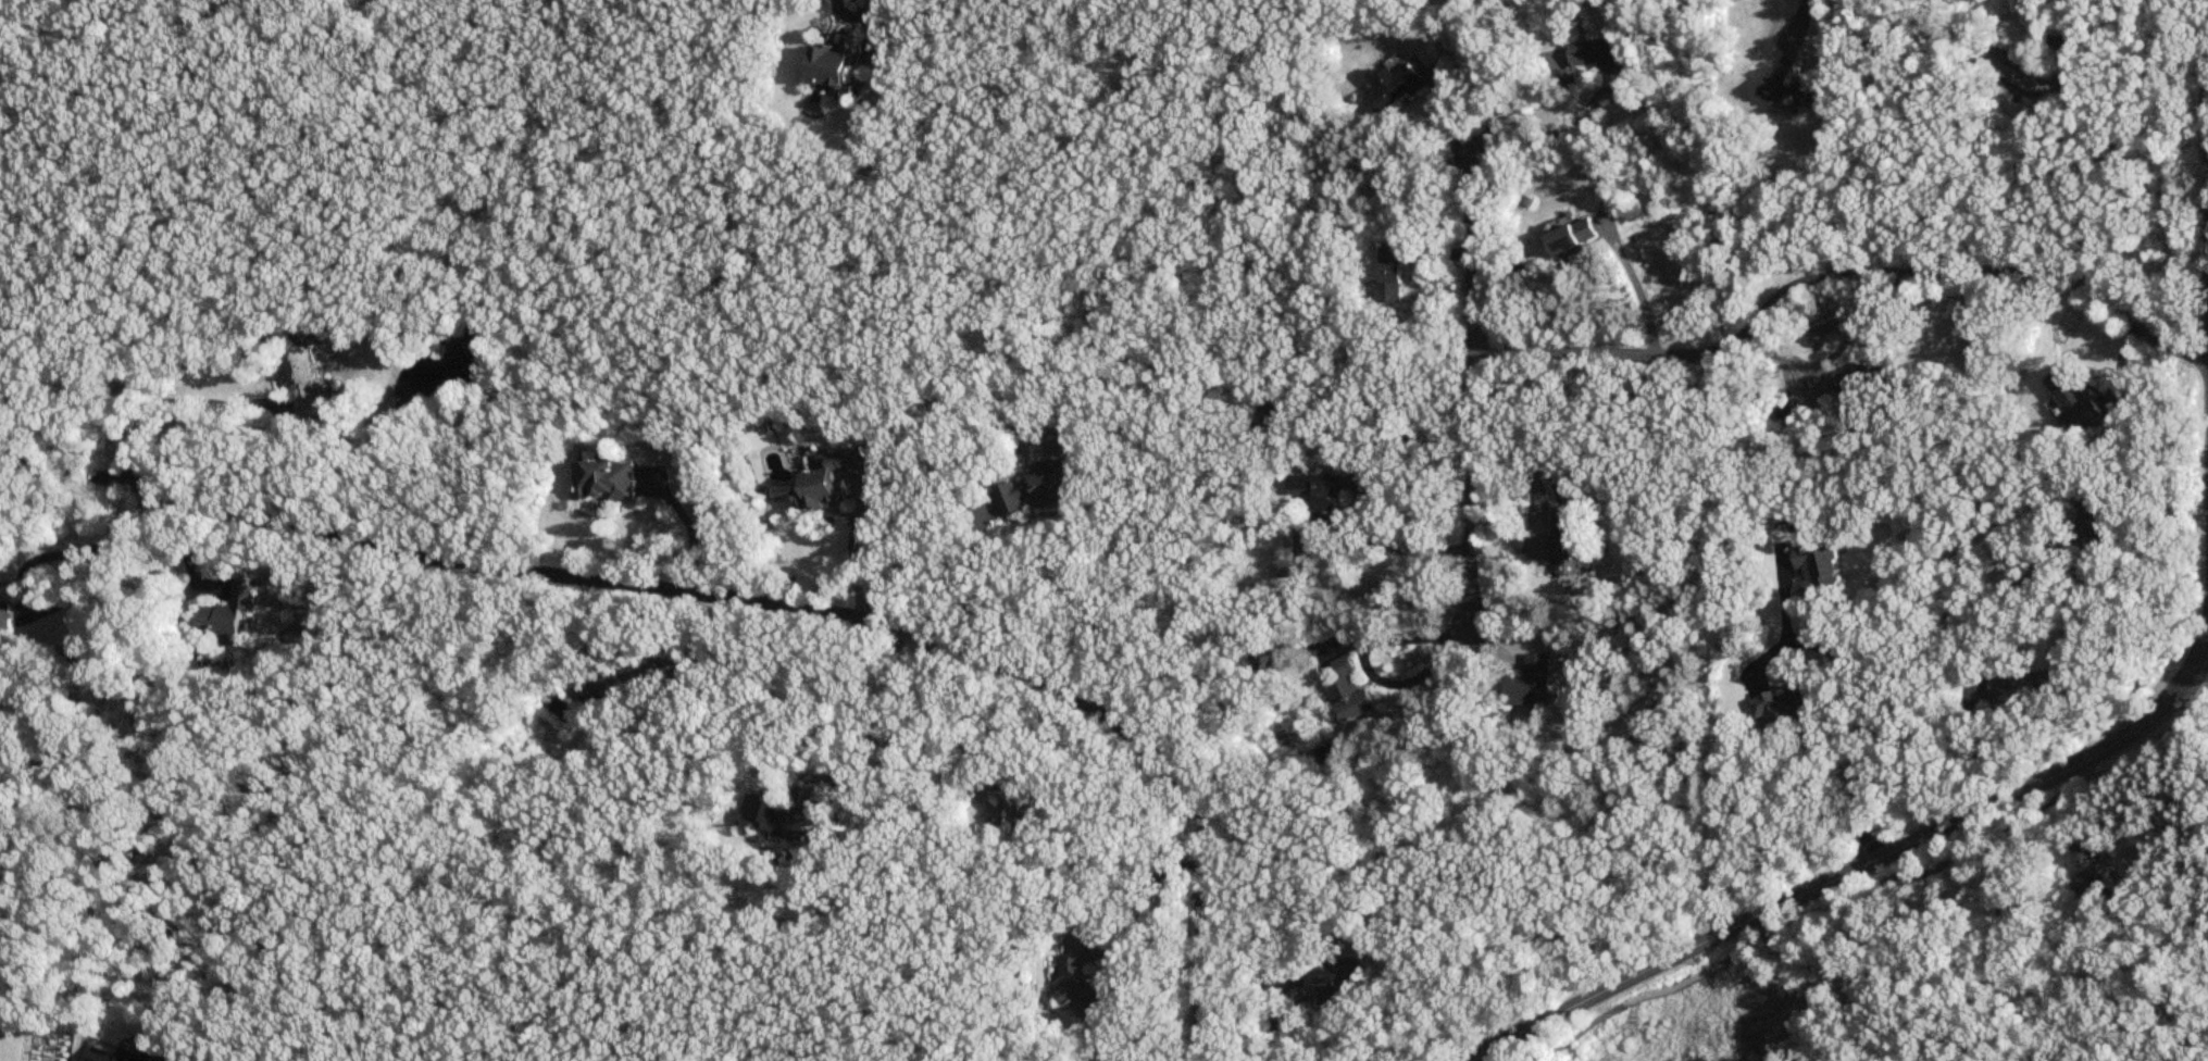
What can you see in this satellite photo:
road: (1794, 34)
building: (839, 61)
building: (1612, 66)
road: (1499, 84)
building: (1394, 88)
building: (1800, 93)
building: (1575, 237)
building: (1389, 274)
road: (1843, 275)
road: (1631, 286)
building: (1867, 374)
road: (1477, 379)
building: (299, 382)
building: (2071, 401)
road: (1379, 434)
road: (1554, 434)
building: (831, 477)
building: (608, 482)
building: (1037, 491)
building: (1315, 491)
building: (2090, 520)
road: (688, 537)
building: (1561, 538)
road: (182, 550)
road: (849, 557)
building: (1822, 563)
road: (970, 576)
road: (62, 601)
road: (747, 601)
building: (230, 612)
building: (7, 613)
road: (2154, 619)
building: (83, 650)
road: (1430, 665)
road: (2197, 676)
building: (1532, 683)
building: (610, 687)
building: (2018, 688)
building: (1350, 691)
road: (928, 696)
road: (1864, 698)
building: (1787, 709)
road: (875, 714)
road: (1962, 739)
building: (1005, 810)
road: (1856, 867)
road: (1874, 891)
road: (1143, 895)
road: (1922, 972)
building: (1080, 978)
building: (1337, 983)
road: (1271, 1018)

